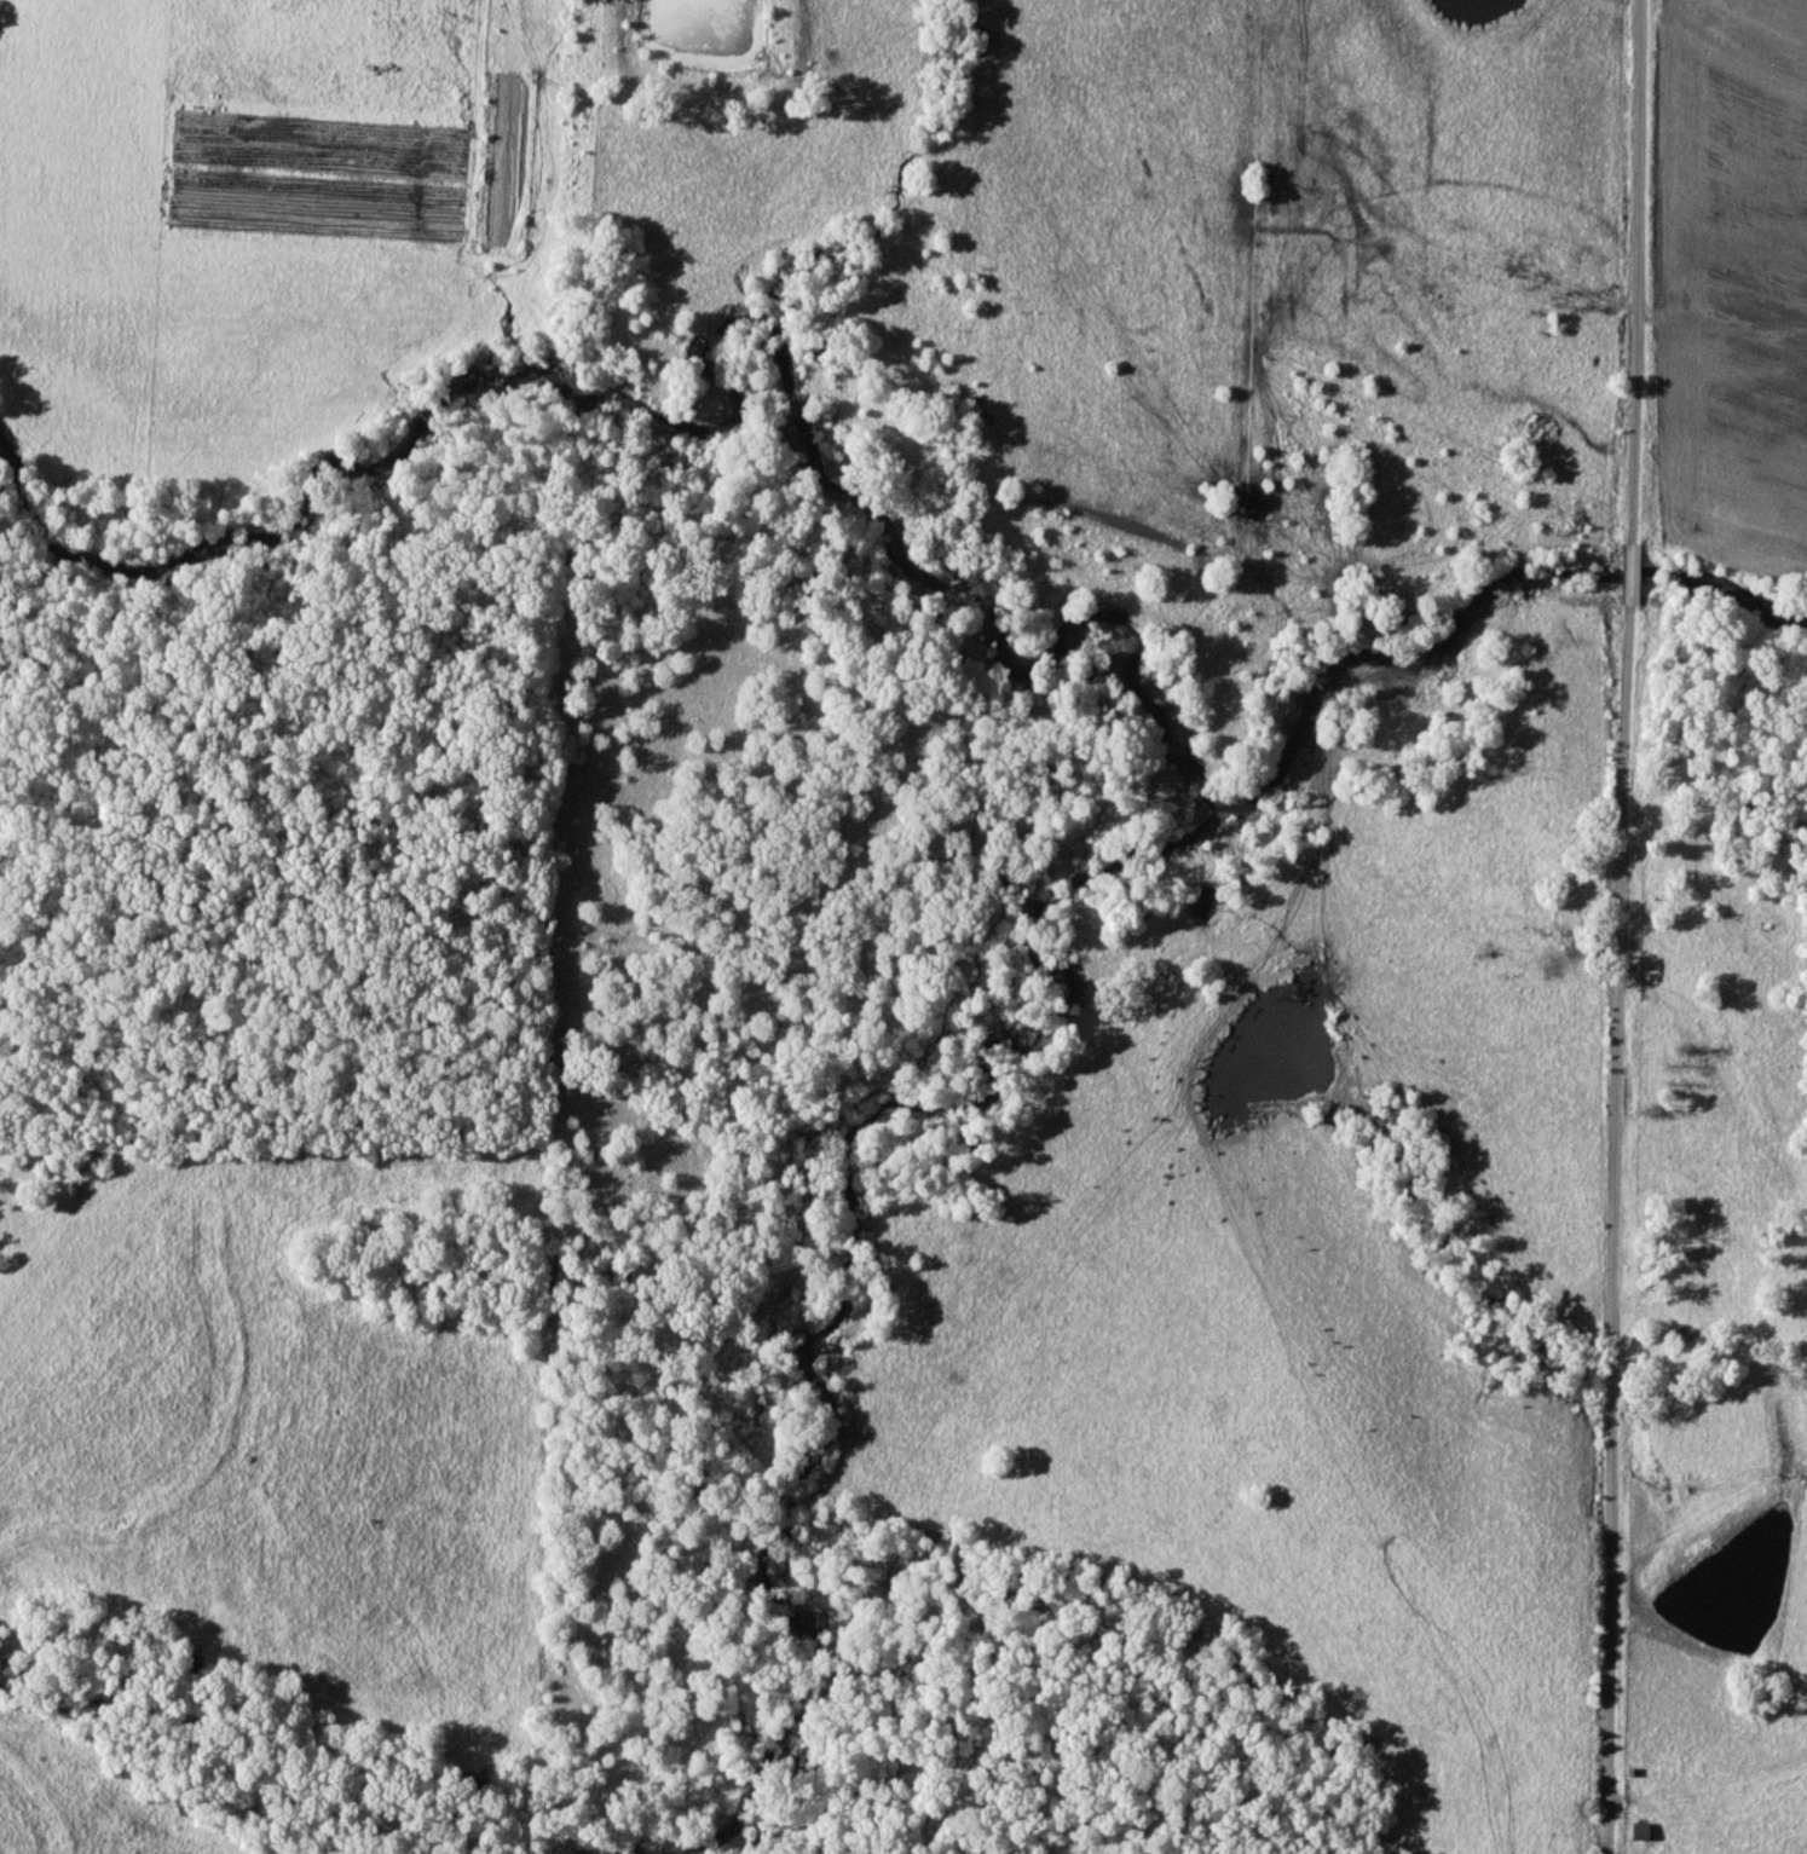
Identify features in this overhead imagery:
road: (1621, 926)
building: (1640, 1831)

